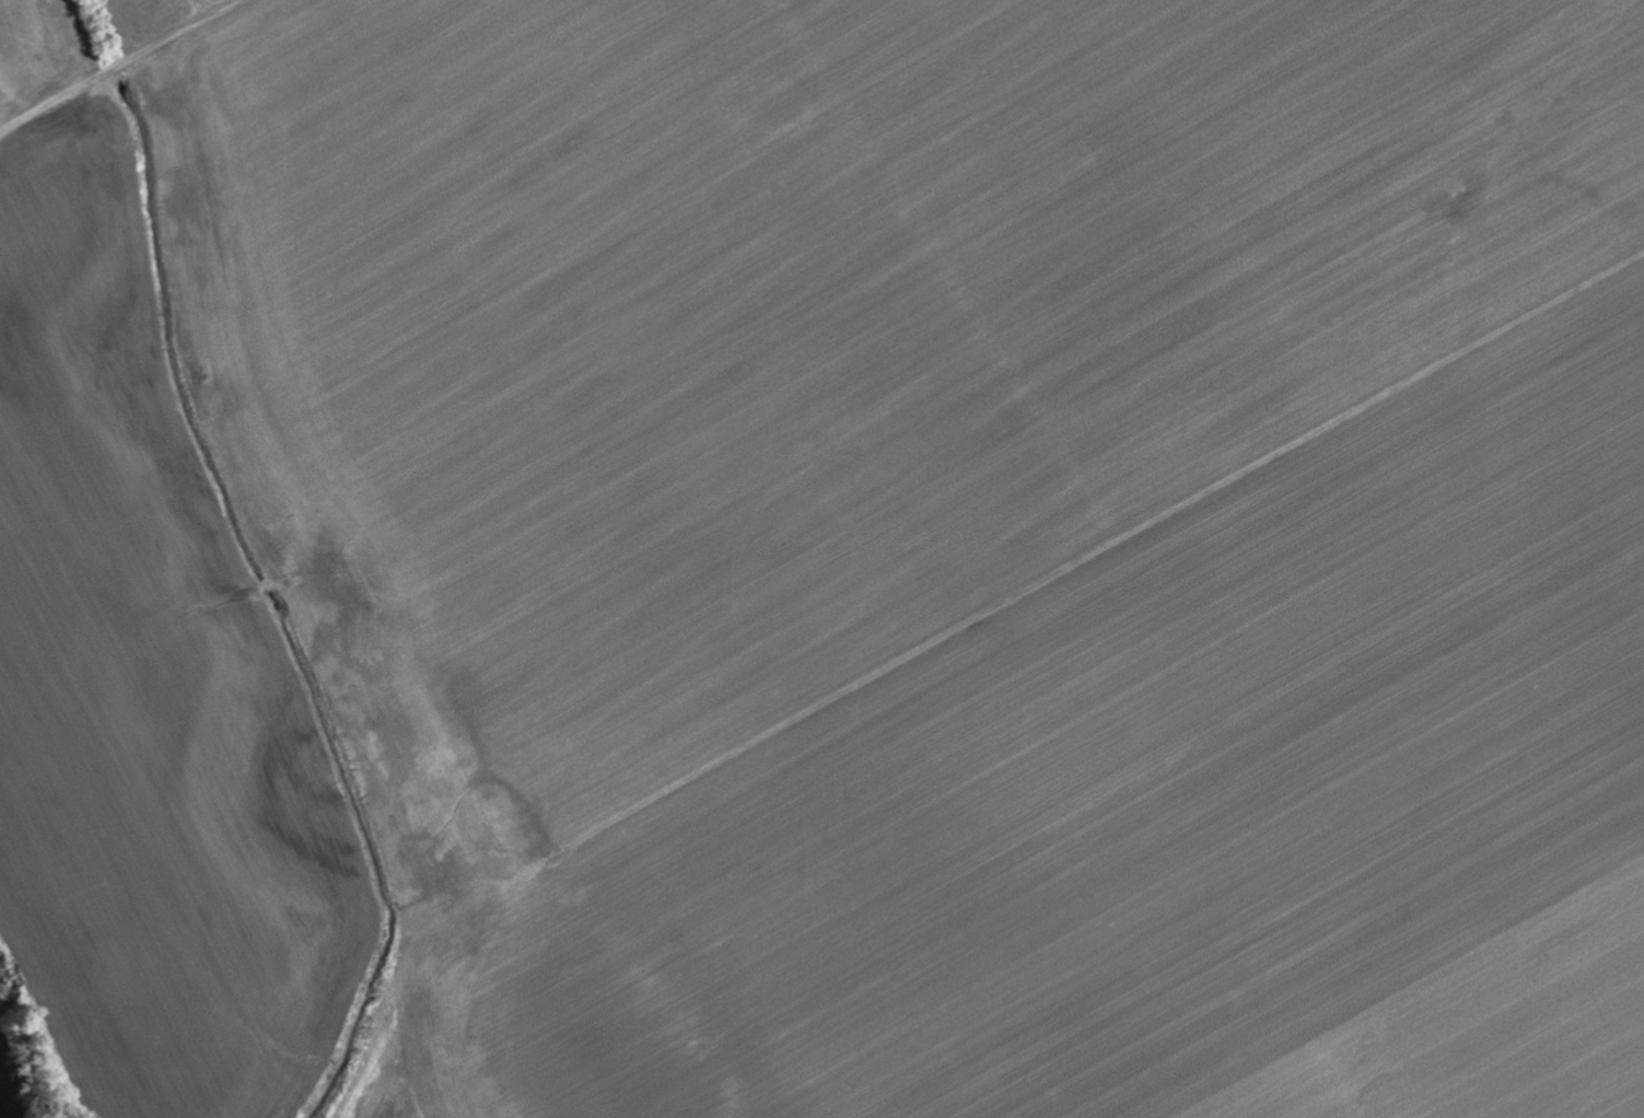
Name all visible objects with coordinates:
road: (170, 37)
road: (50, 103)

